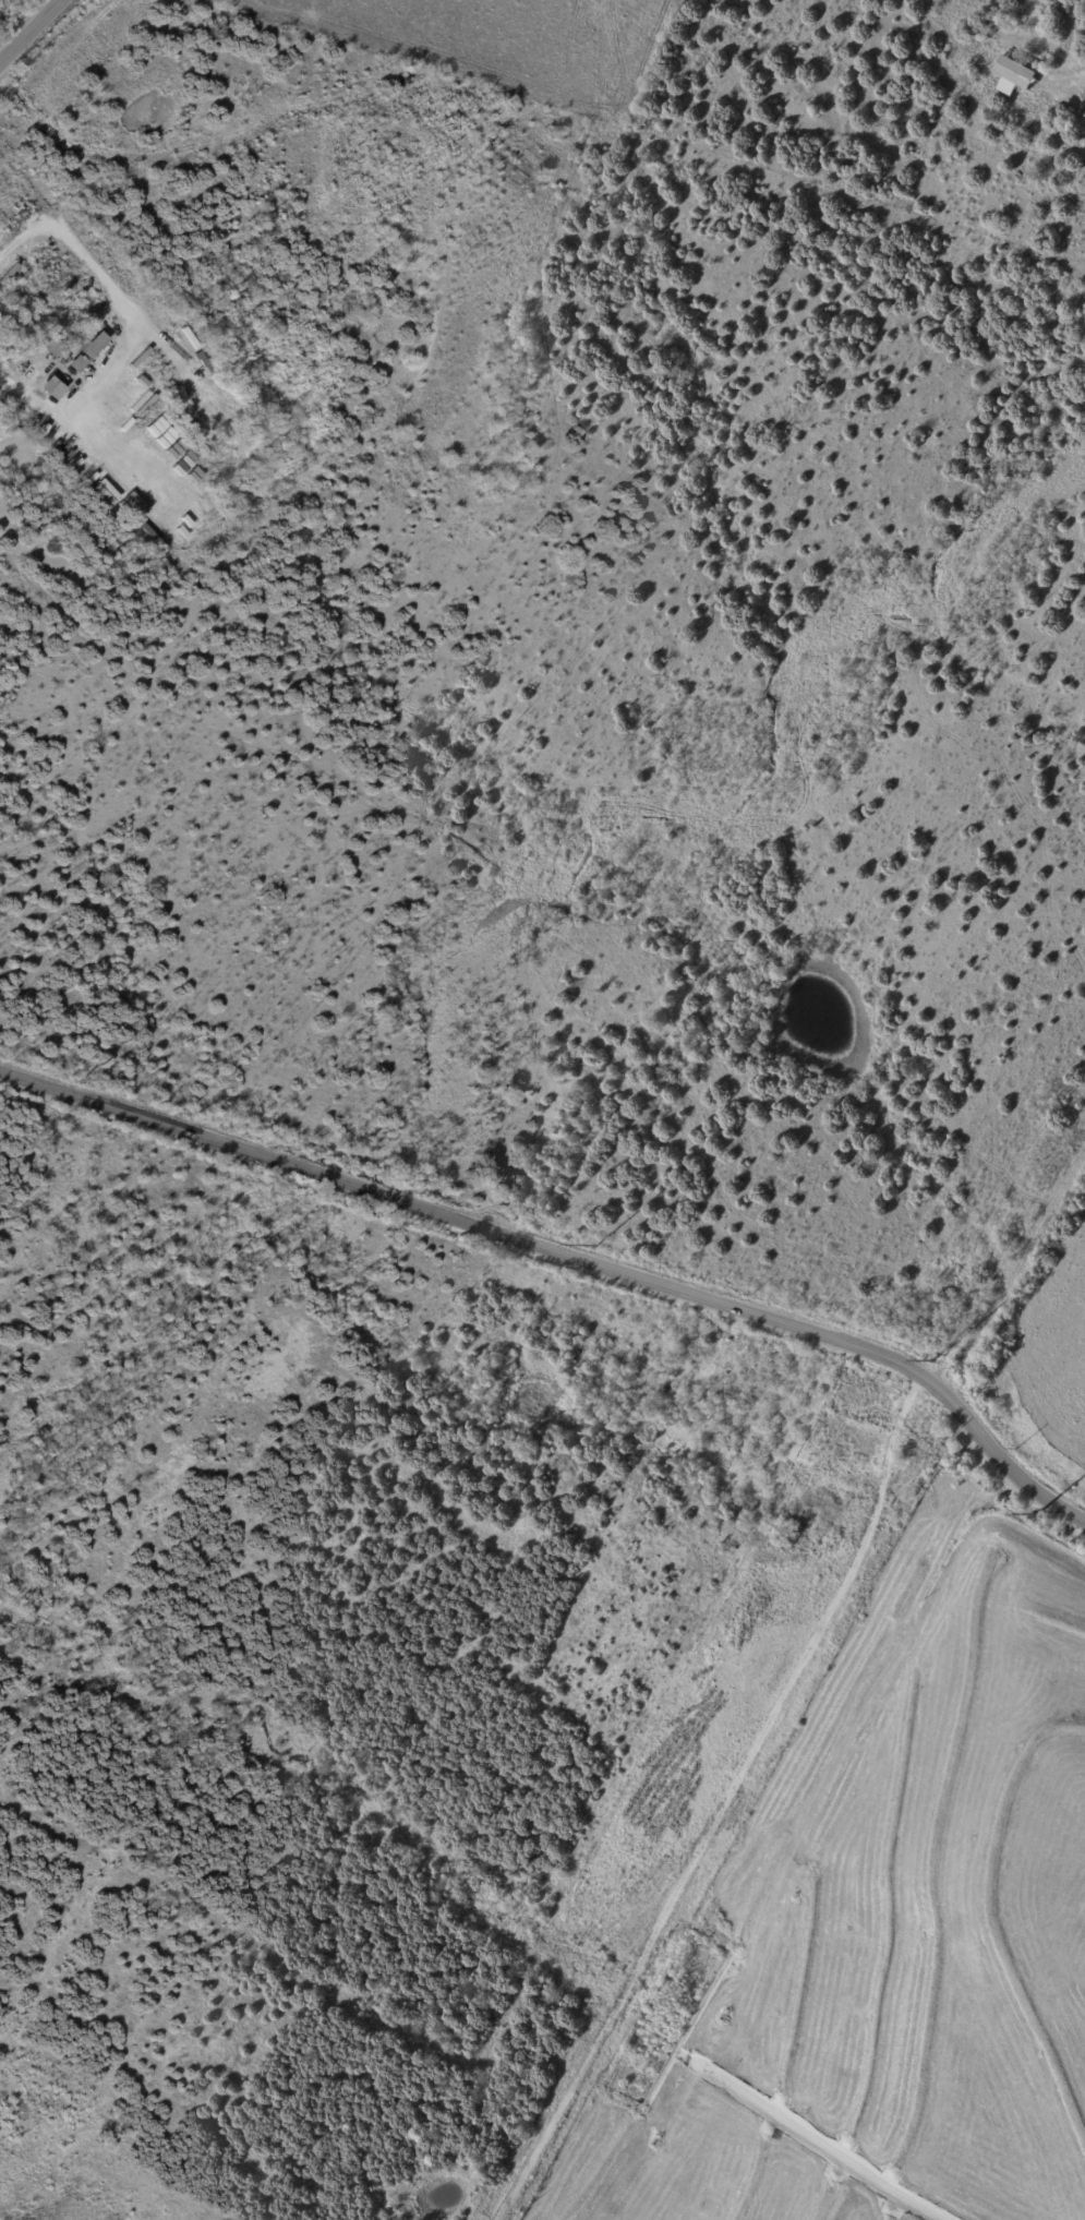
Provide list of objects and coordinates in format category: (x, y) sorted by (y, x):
road: (25, 26)
building: (993, 47)
building: (1015, 76)
building: (1084, 108)
building: (123, 180)
building: (8, 274)
road: (132, 323)
building: (180, 343)
building: (51, 348)
building: (82, 349)
building: (176, 380)
building: (49, 387)
building: (7, 409)
building: (28, 422)
building: (683, 1048)
road: (567, 1260)
road: (727, 1805)
landfill: (893, 1941)

